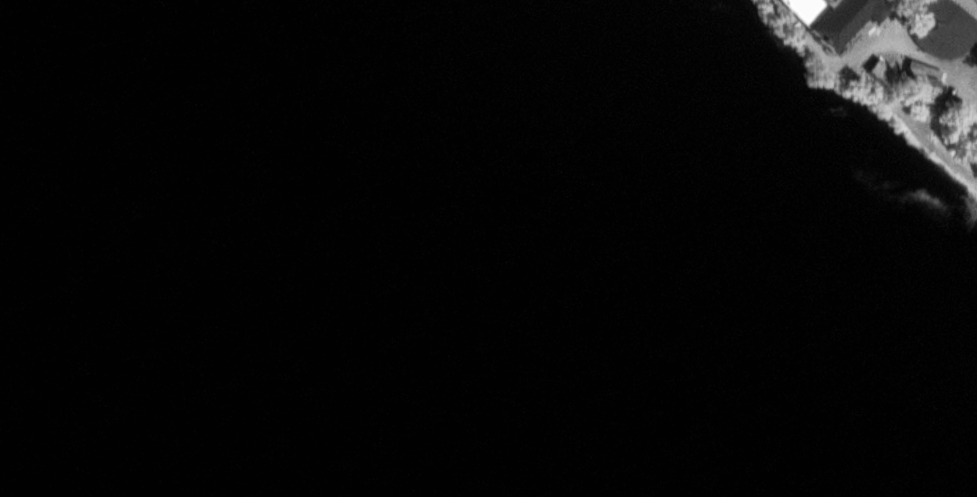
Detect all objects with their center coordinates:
building: (825, 16)
building: (939, 26)
road: (966, 62)
building: (875, 70)
building: (923, 87)

